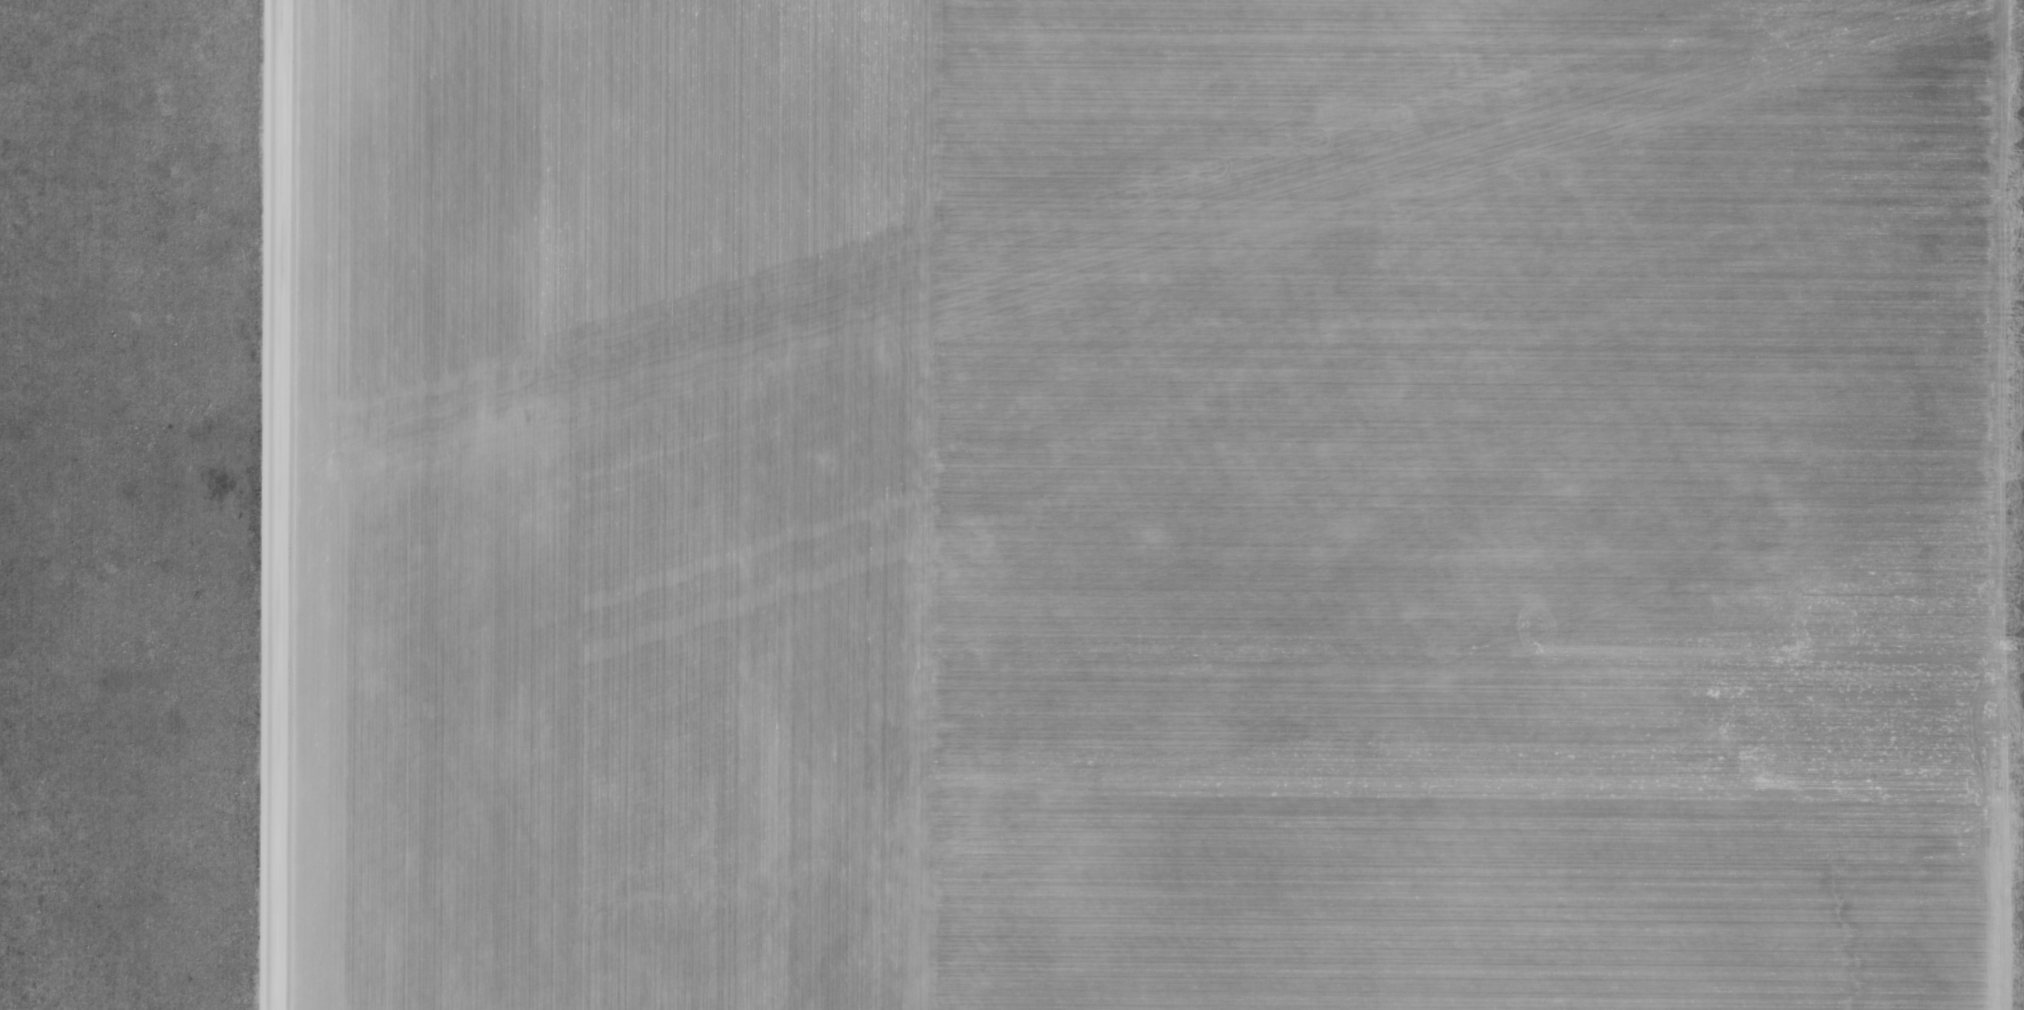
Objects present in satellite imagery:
road: (316, 505)
road: (2021, 505)

